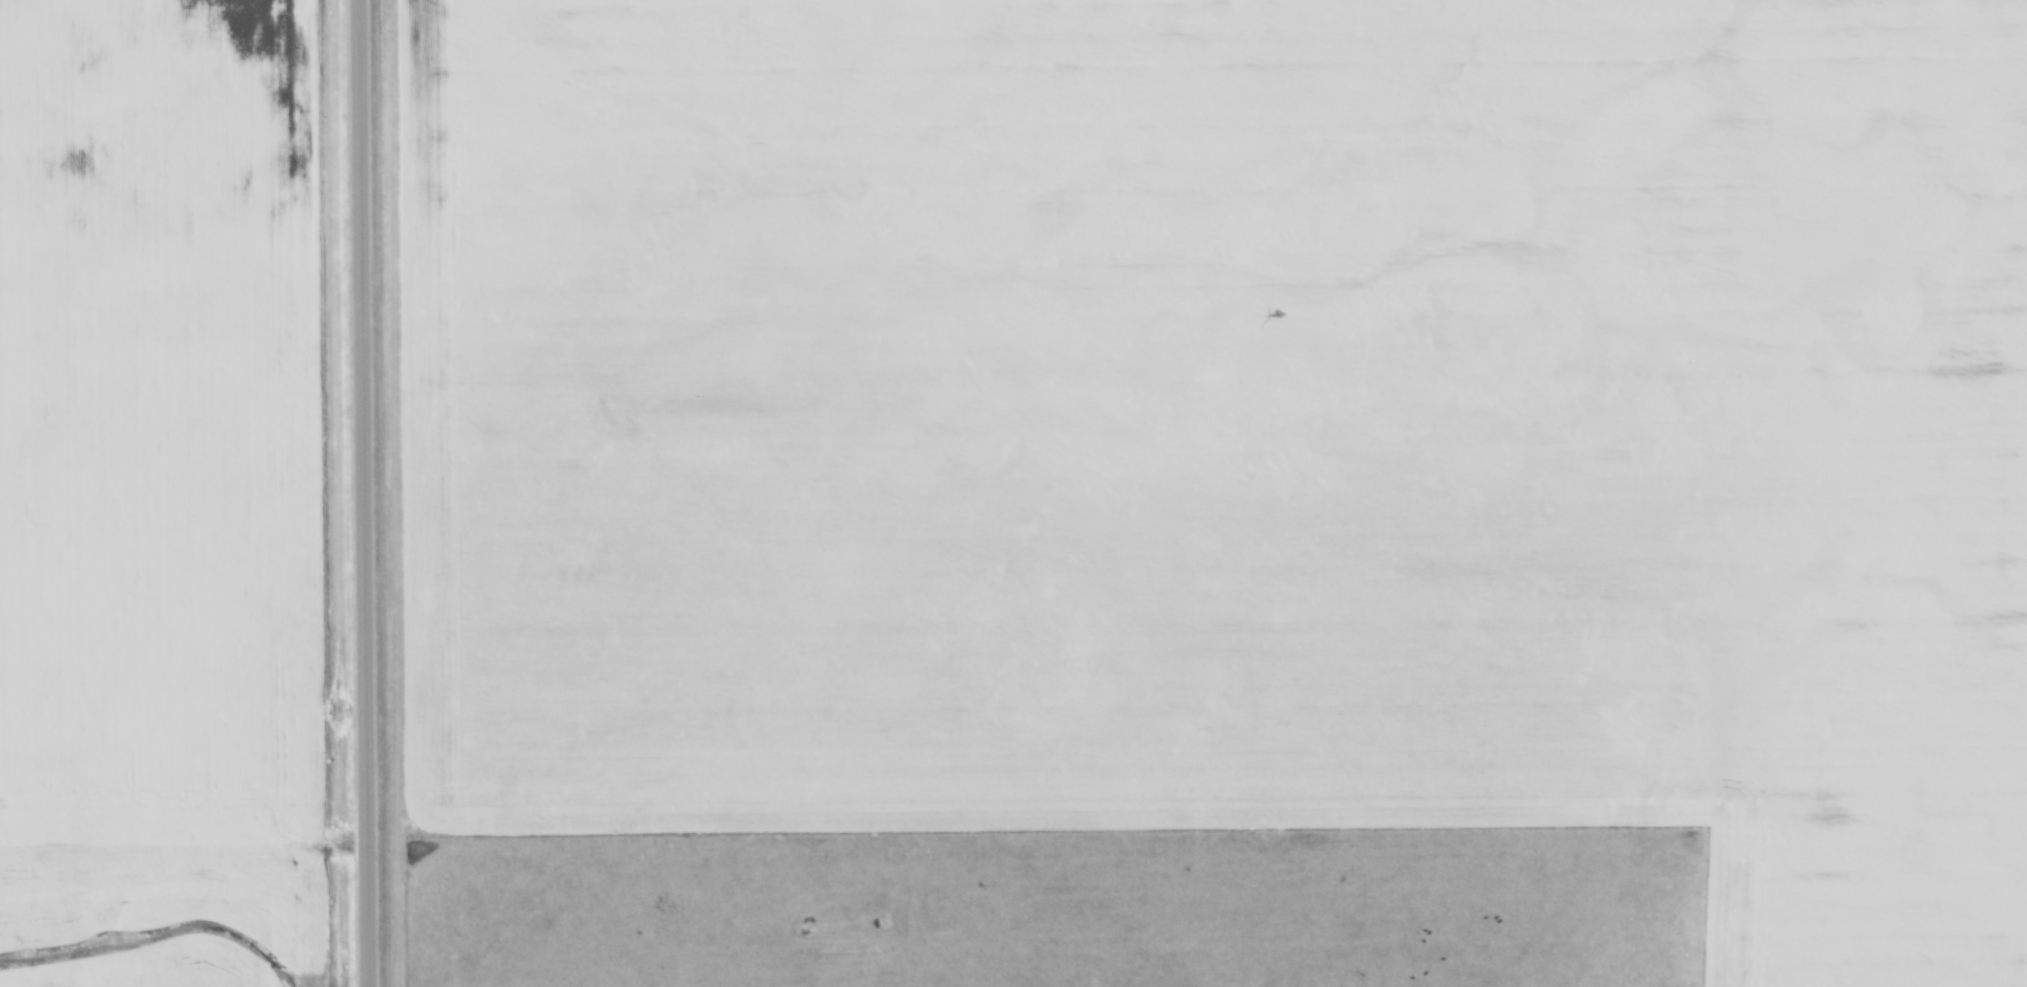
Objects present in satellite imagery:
road: (360, 493)

